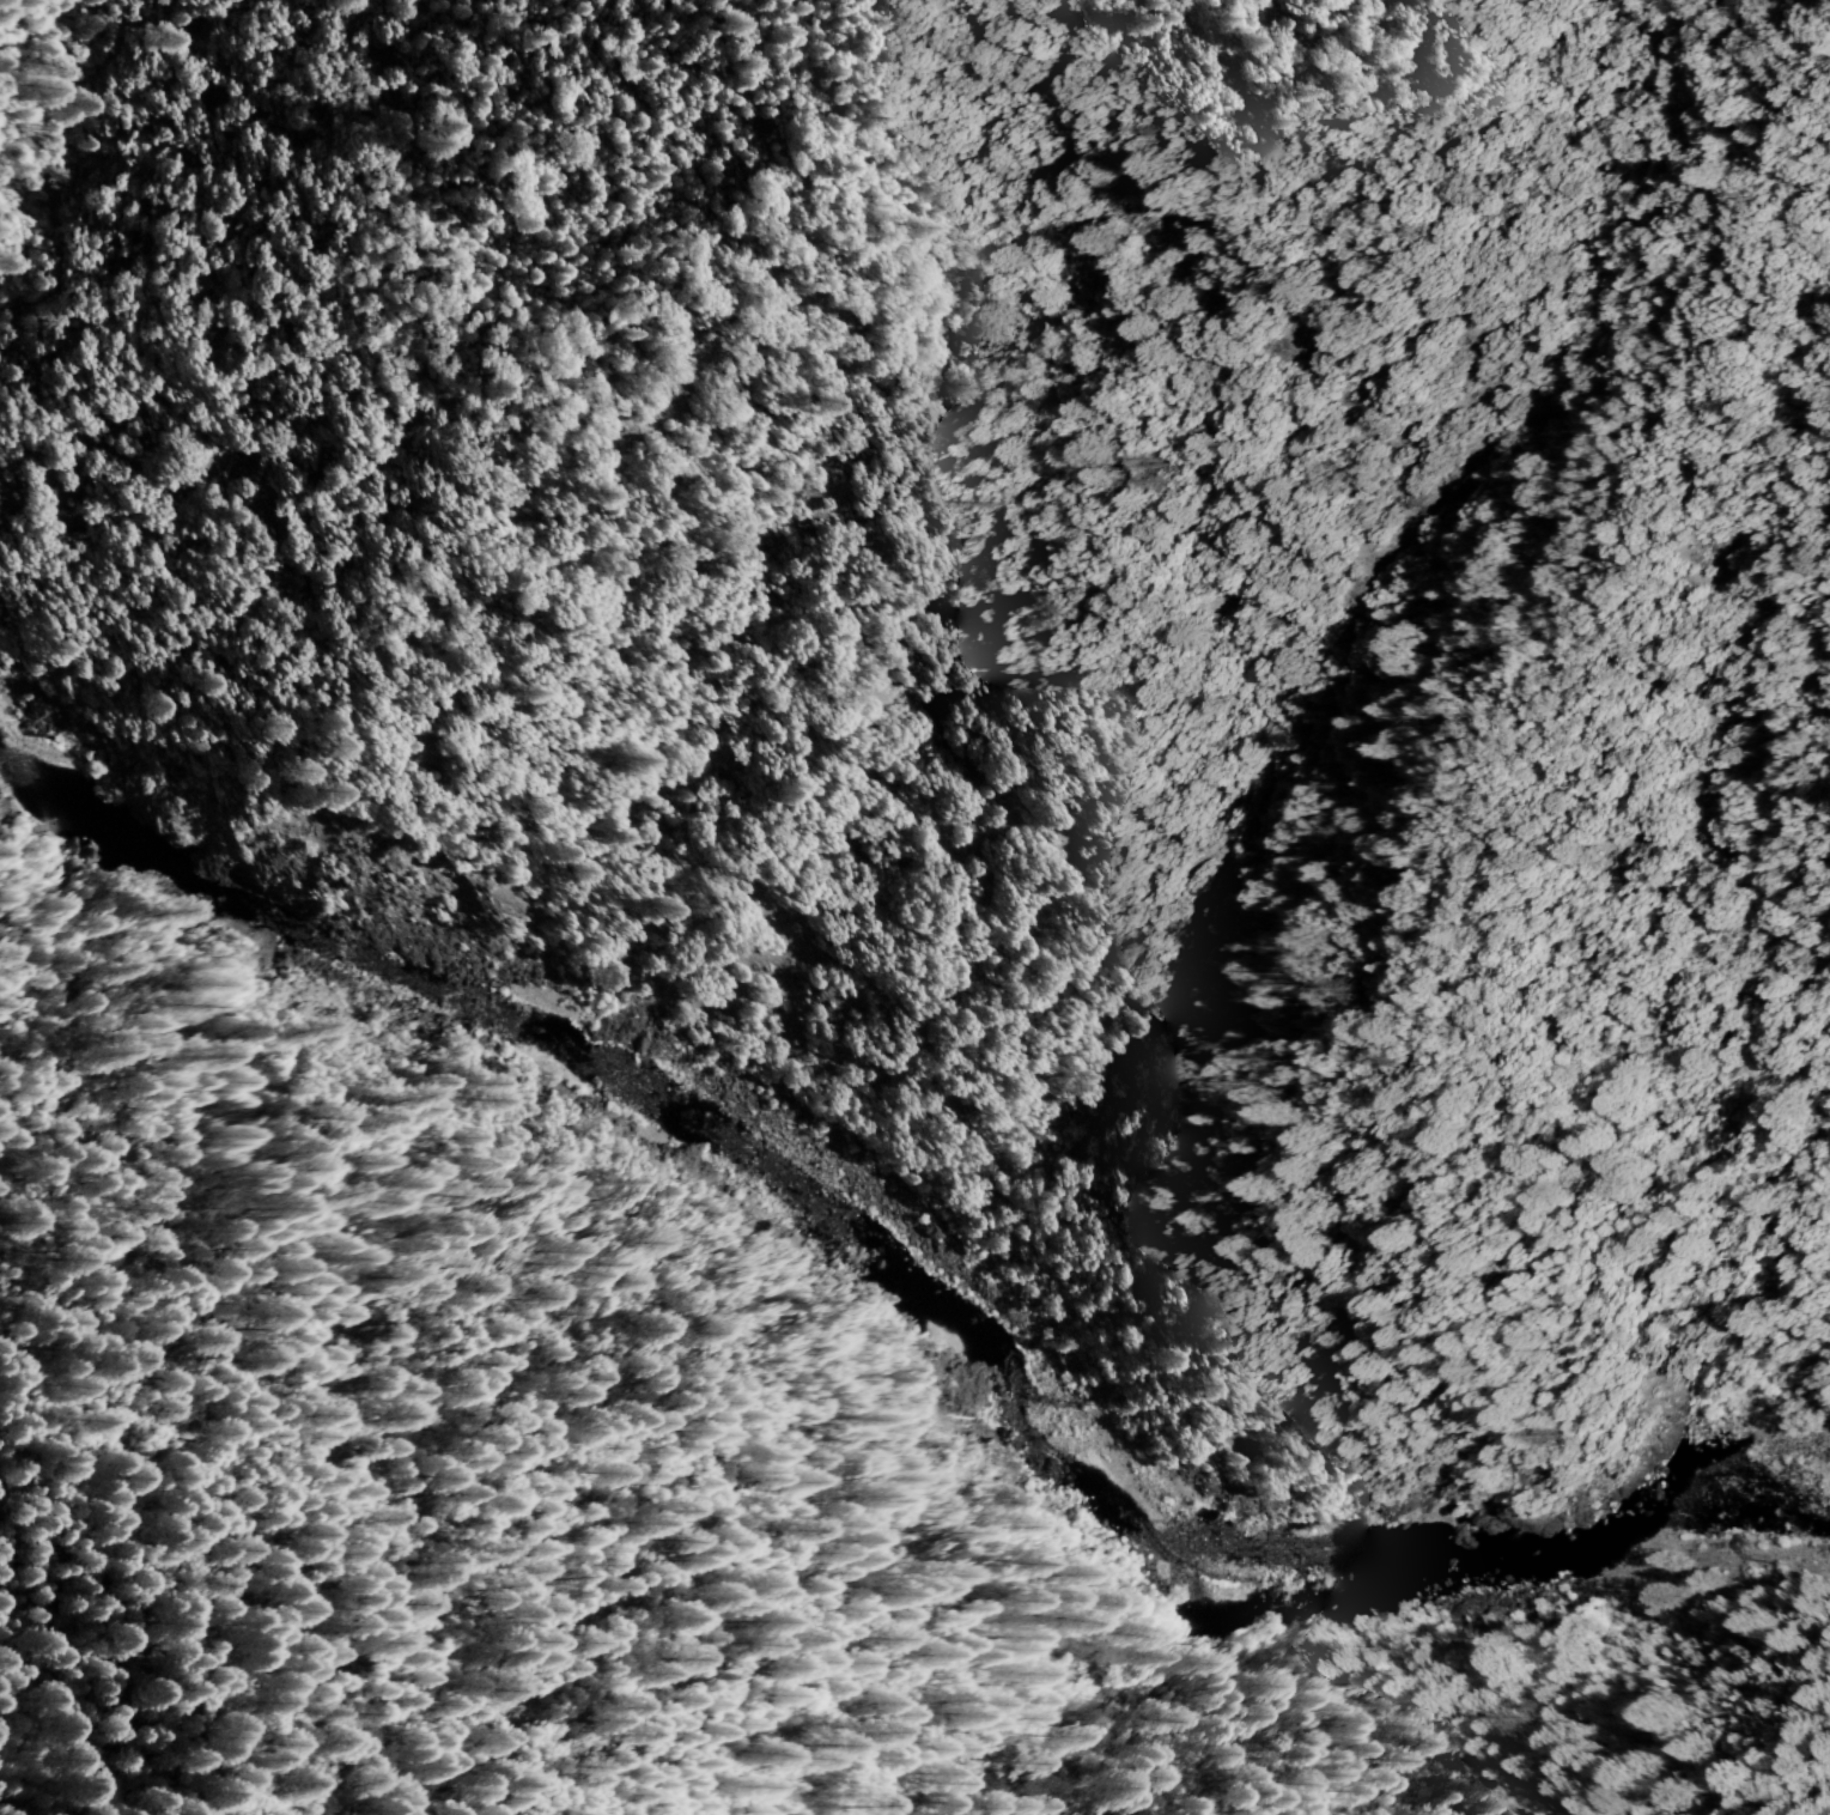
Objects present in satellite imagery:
park: (853, 333)
park: (43, 346)
park: (339, 406)
park: (789, 783)
river: (256, 899)
river: (561, 1058)
road: (981, 1074)
river: (652, 1122)
river: (825, 1232)
river: (910, 1298)
river: (1007, 1416)
river: (1763, 1522)
river: (1819, 1529)
river: (1552, 1558)
river: (1233, 1567)
park: (226, 1635)

